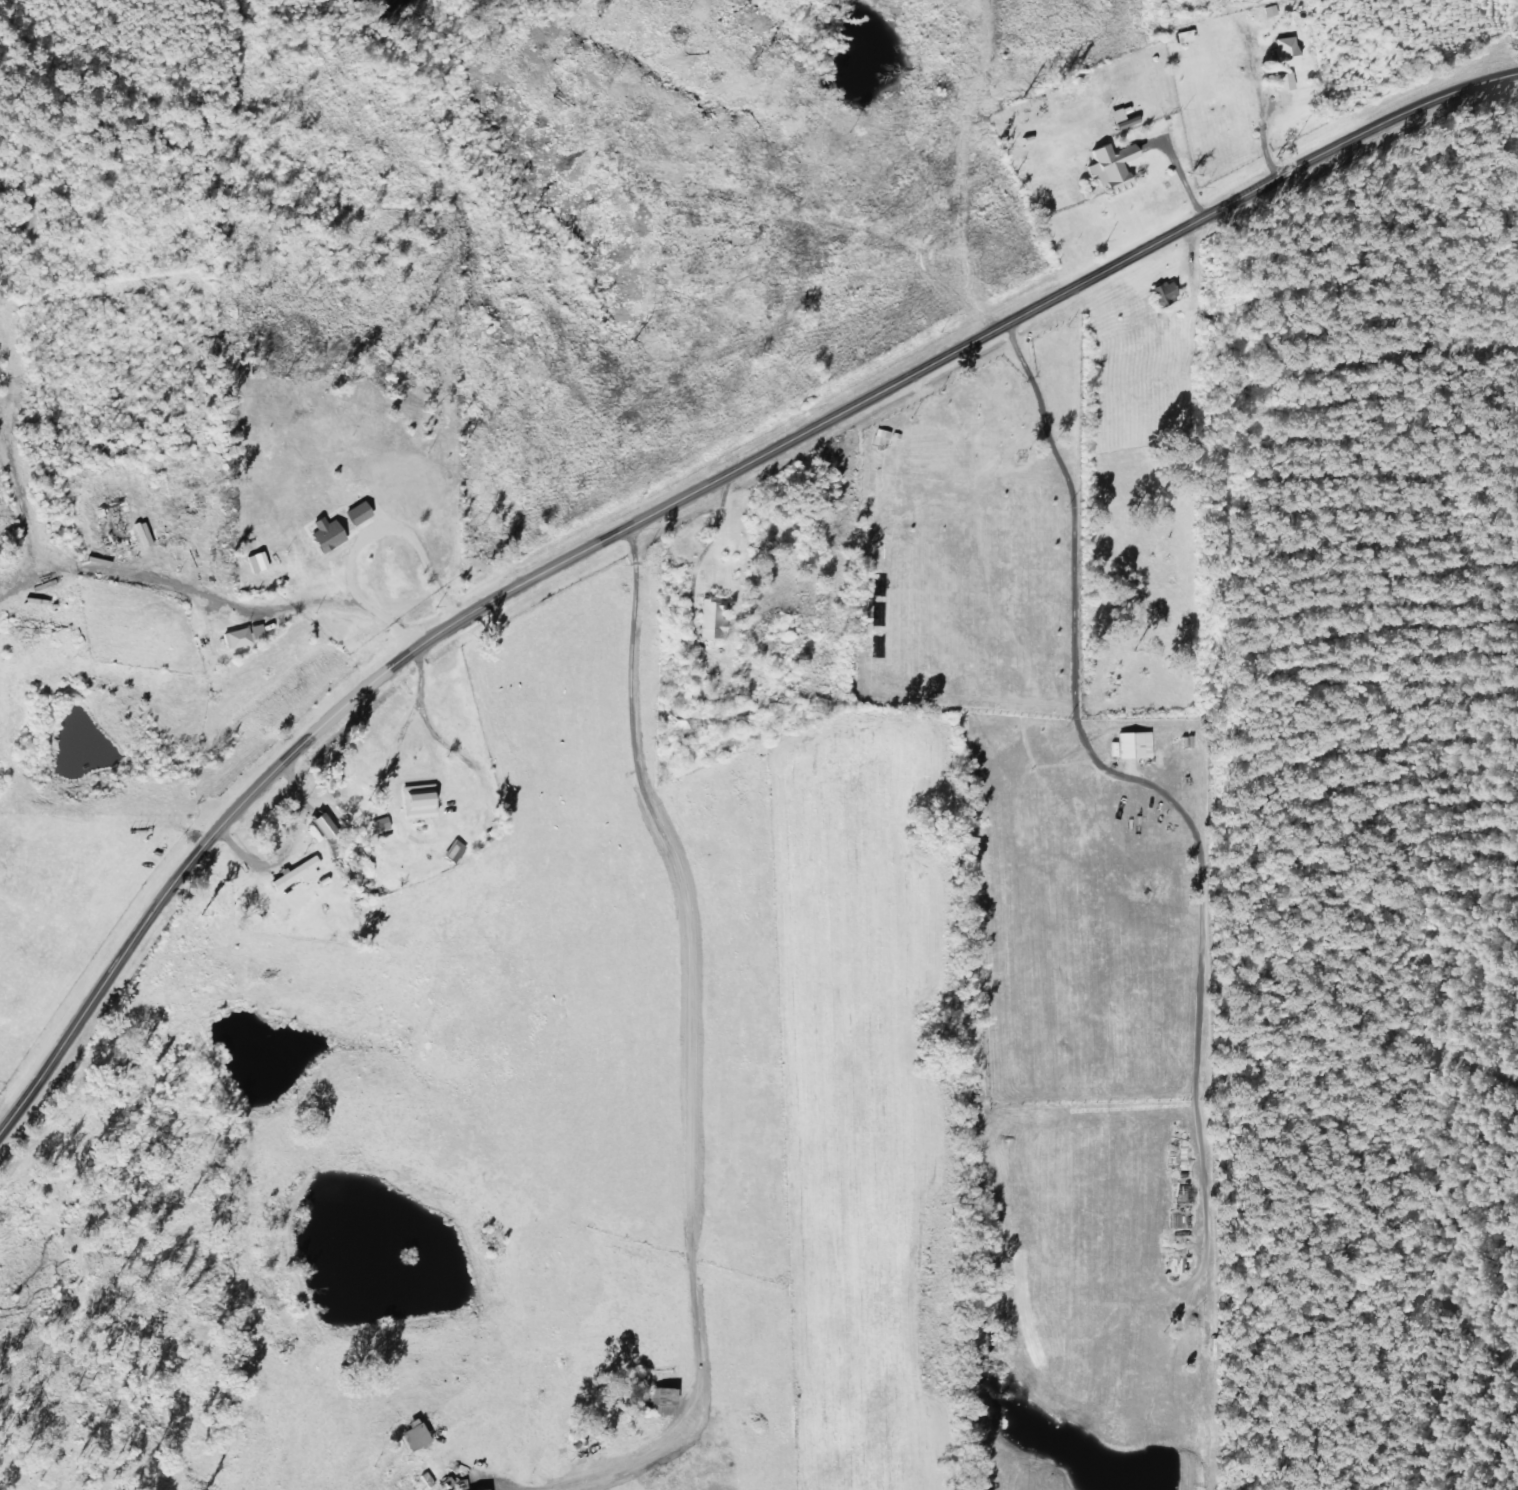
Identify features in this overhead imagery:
building: (1275, 13)
road: (1242, 17)
road: (1399, 52)
building: (1290, 55)
building: (1289, 83)
building: (1118, 169)
building: (1170, 296)
road: (678, 501)
building: (332, 536)
building: (717, 623)
building: (241, 640)
building: (1139, 747)
building: (300, 875)
building: (420, 1439)

